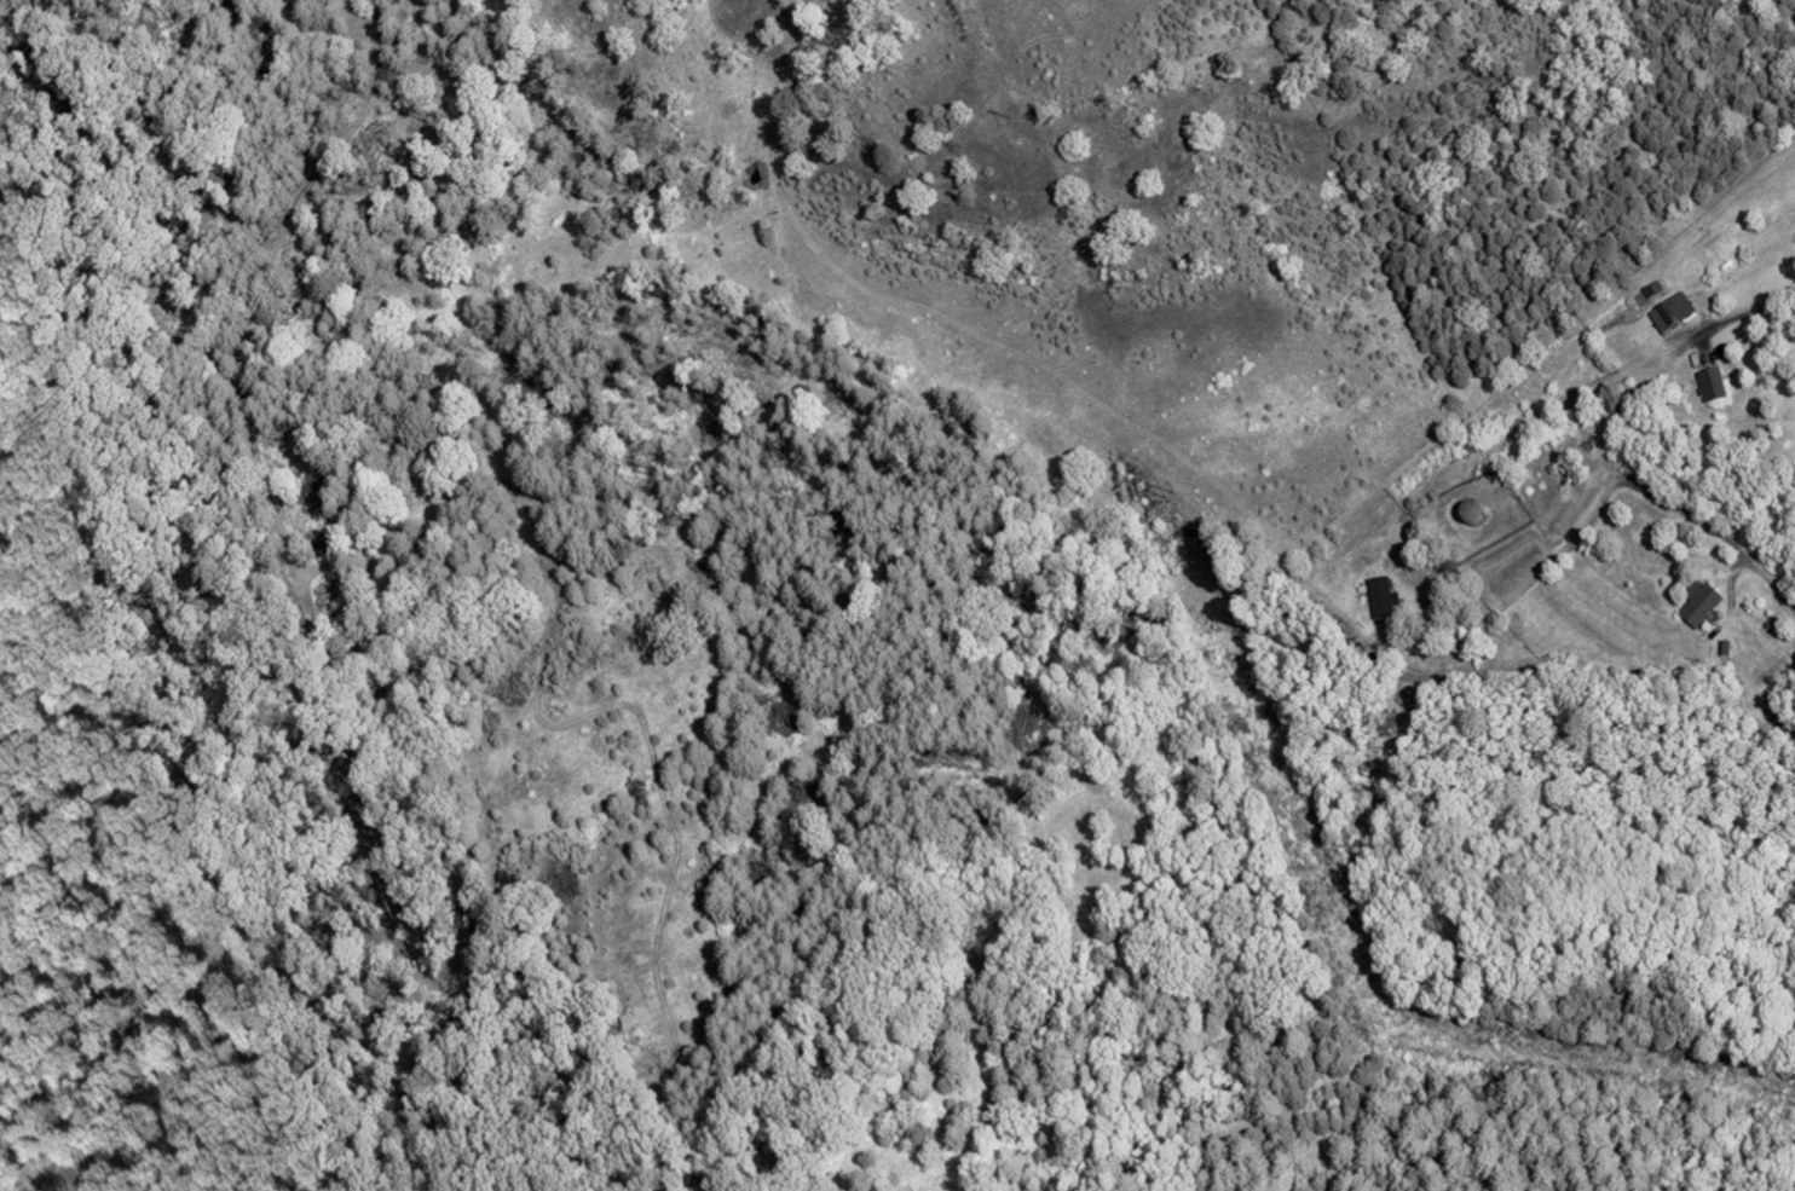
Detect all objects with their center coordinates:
building: (1649, 296)
building: (1672, 312)
road: (1743, 312)
building: (1714, 385)
road: (1595, 514)
water tower: (1470, 515)
building: (1470, 516)
building: (1383, 599)
building: (1698, 603)
building: (1724, 648)
road: (1771, 704)

